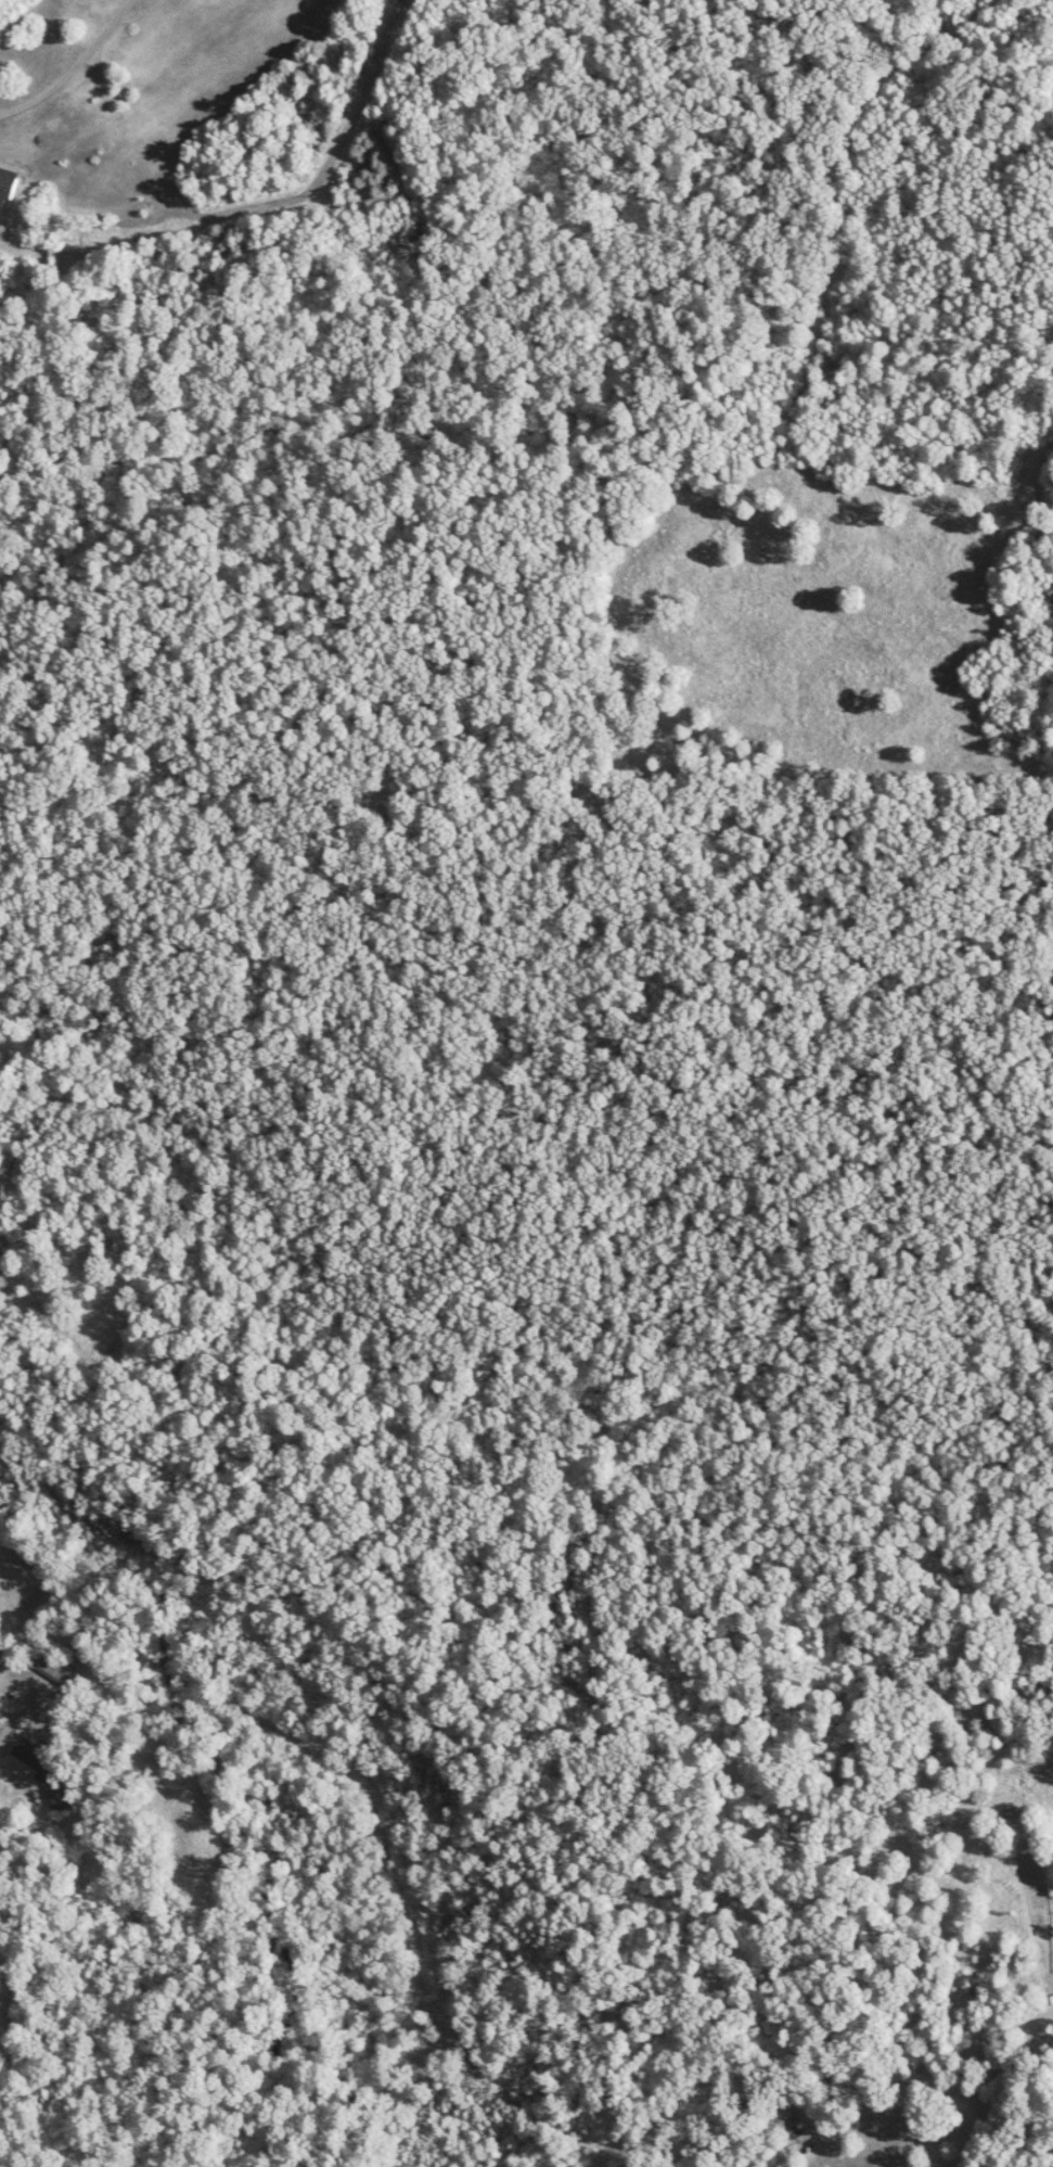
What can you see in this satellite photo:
road: (72, 65)
building: (7, 182)
building: (50, 1664)
road: (26, 1697)
building: (42, 1771)

